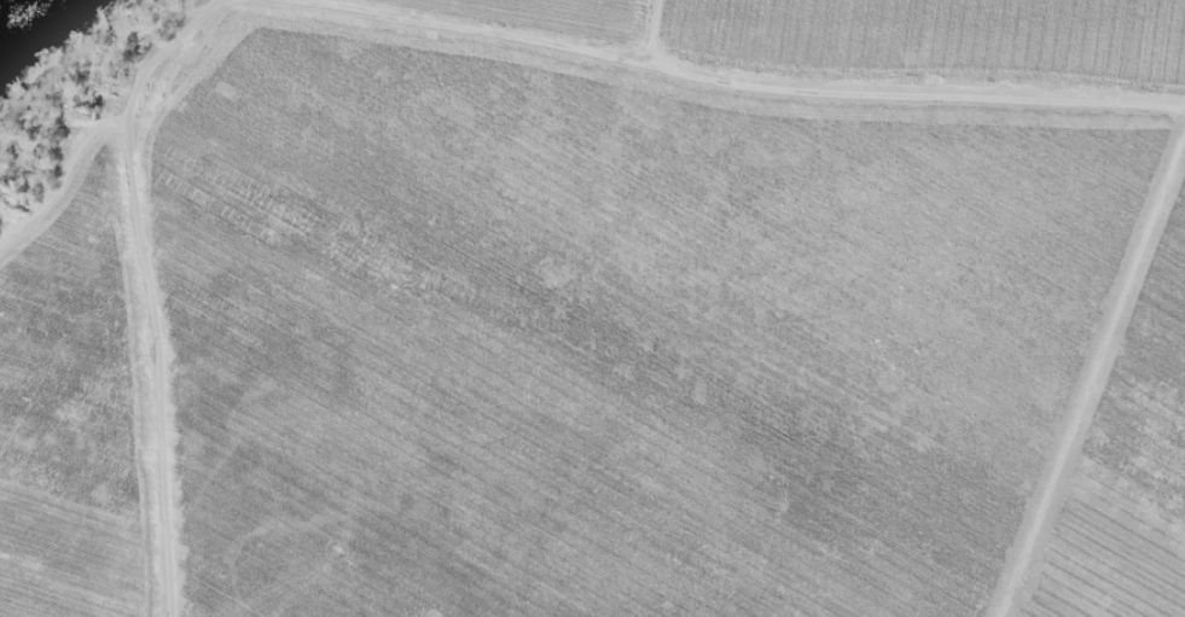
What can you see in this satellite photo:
river: (13, 13)

